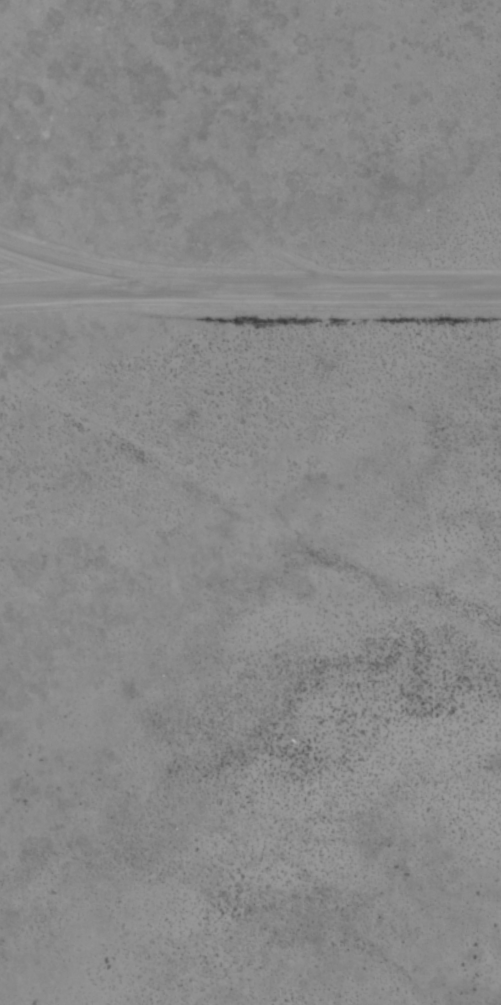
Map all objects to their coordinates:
road: (248, 290)

